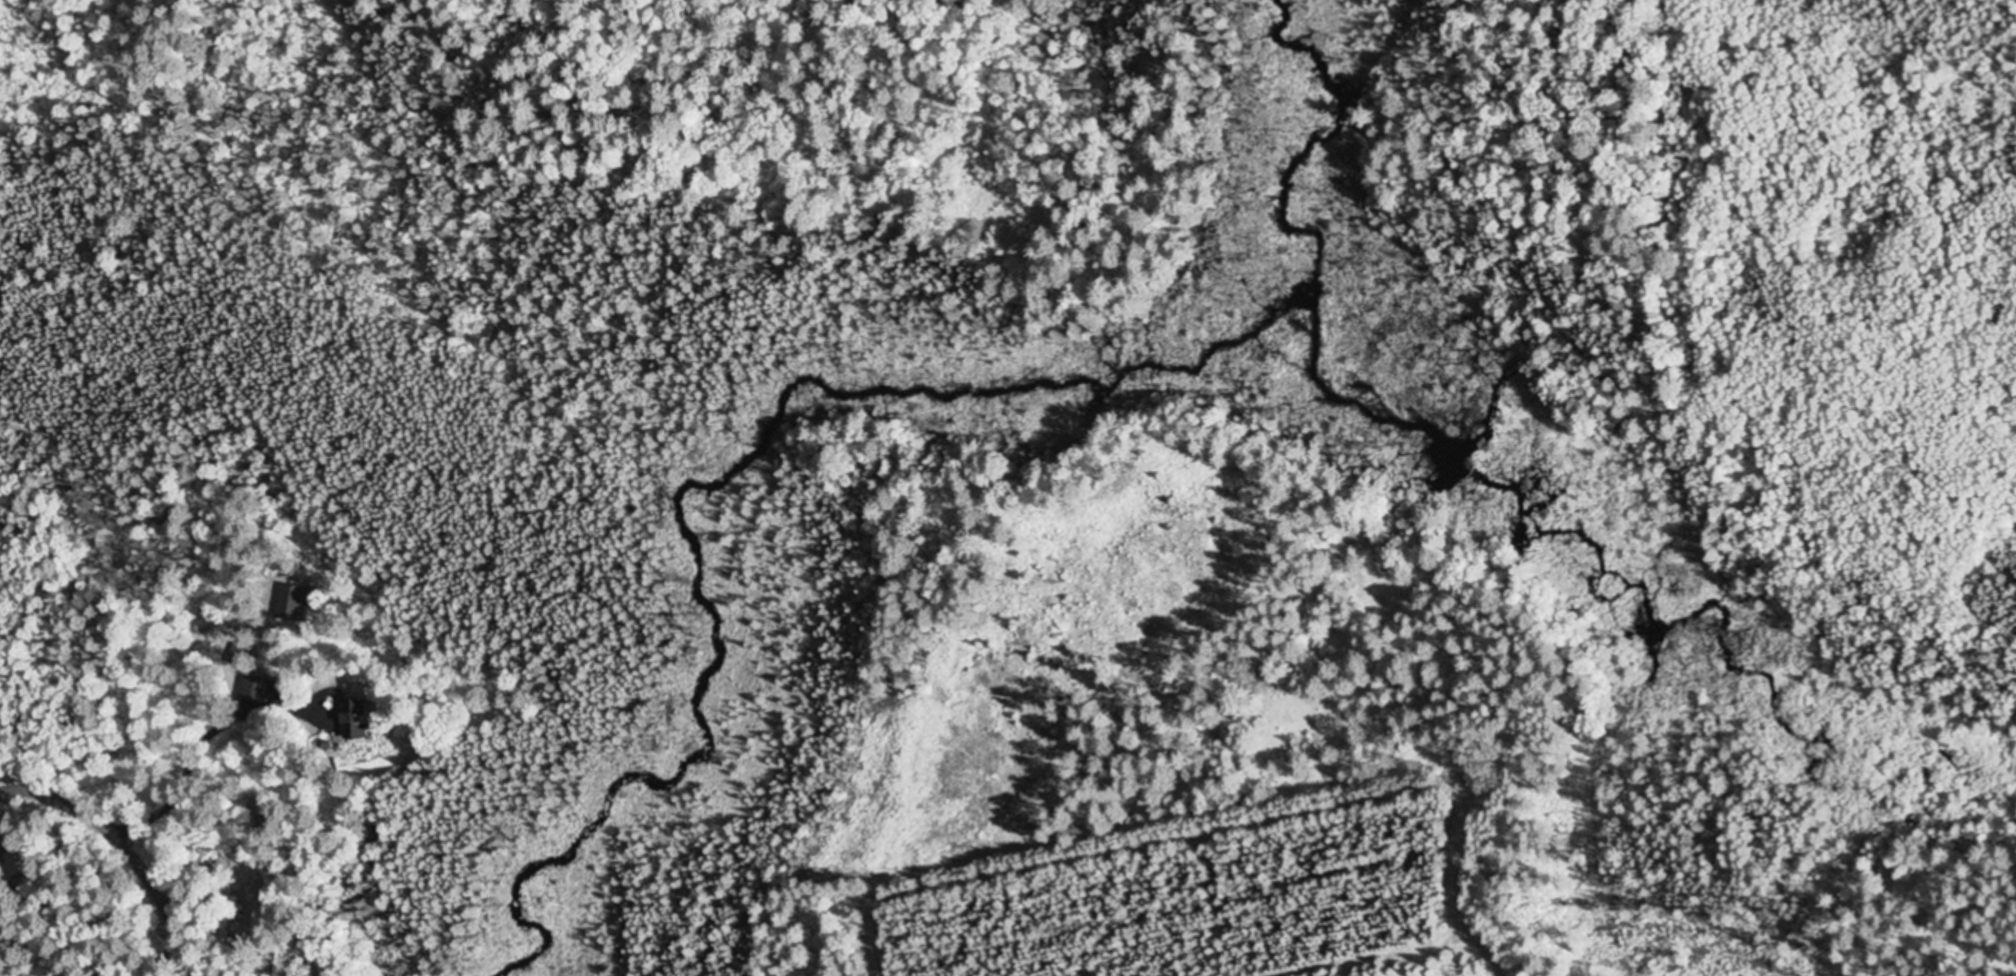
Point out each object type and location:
building: (290, 604)
building: (238, 655)
building: (252, 689)
building: (351, 722)
road: (126, 848)

